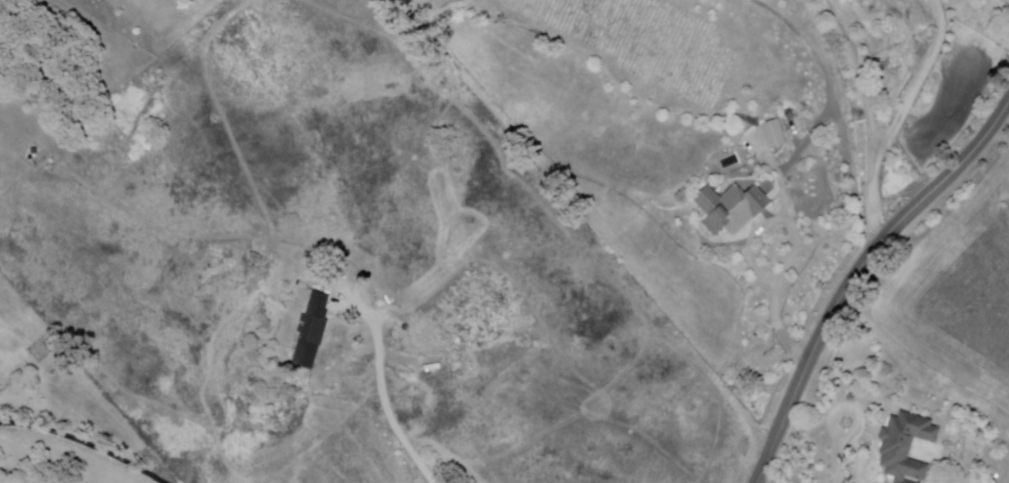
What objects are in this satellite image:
road: (915, 81)
building: (790, 113)
road: (838, 113)
road: (871, 118)
crop: (935, 131)
building: (728, 132)
building: (774, 134)
road: (794, 155)
road: (769, 160)
building: (731, 210)
road: (796, 243)
road: (854, 276)
building: (310, 332)
road: (383, 389)
road: (831, 422)
building: (906, 445)
road: (81, 447)
road: (840, 459)

